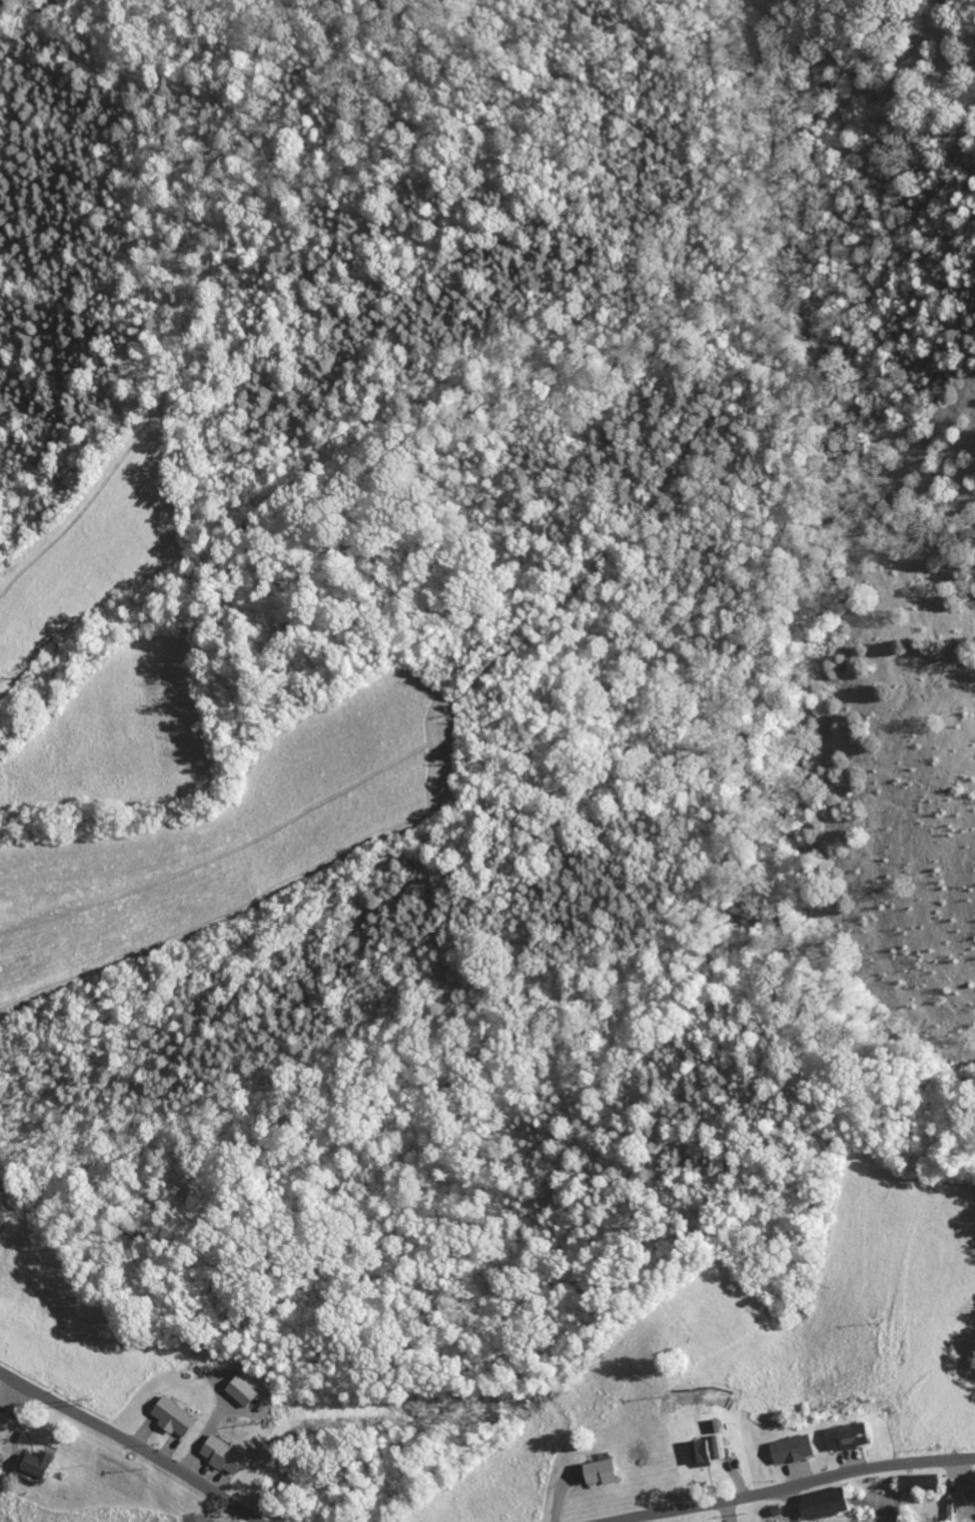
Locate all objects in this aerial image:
building: (0, 1384)
building: (245, 1391)
power tower: (92, 1401)
building: (177, 1417)
building: (850, 1436)
road: (133, 1442)
building: (794, 1449)
building: (703, 1451)
building: (225, 1455)
building: (40, 1462)
building: (604, 1471)
road: (791, 1486)
building: (831, 1502)

